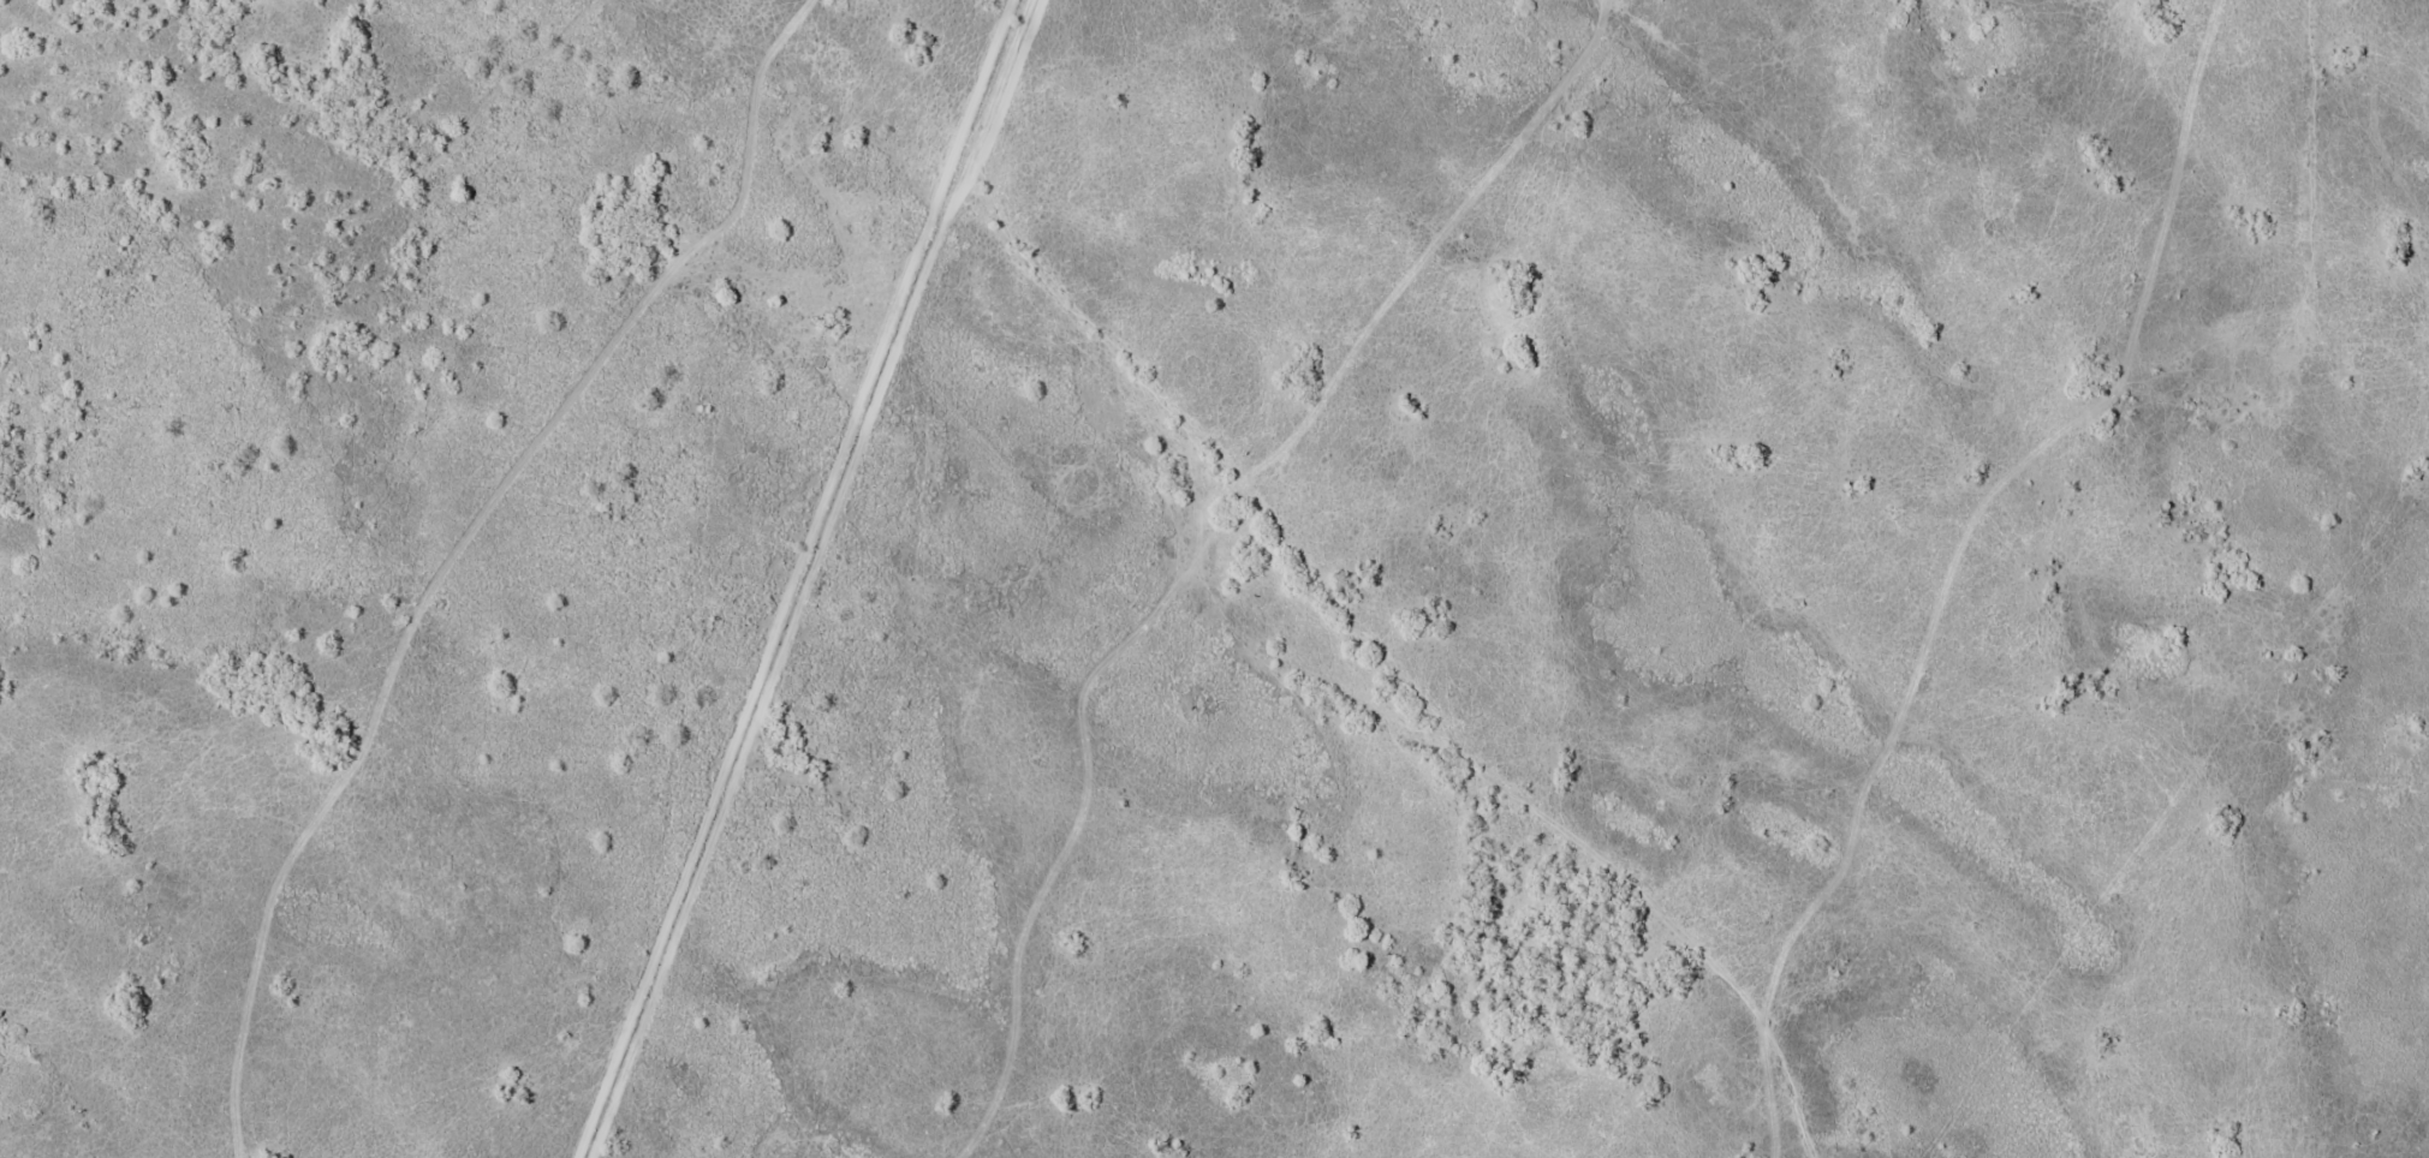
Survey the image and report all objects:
road: (2308, 202)
road: (1292, 650)

